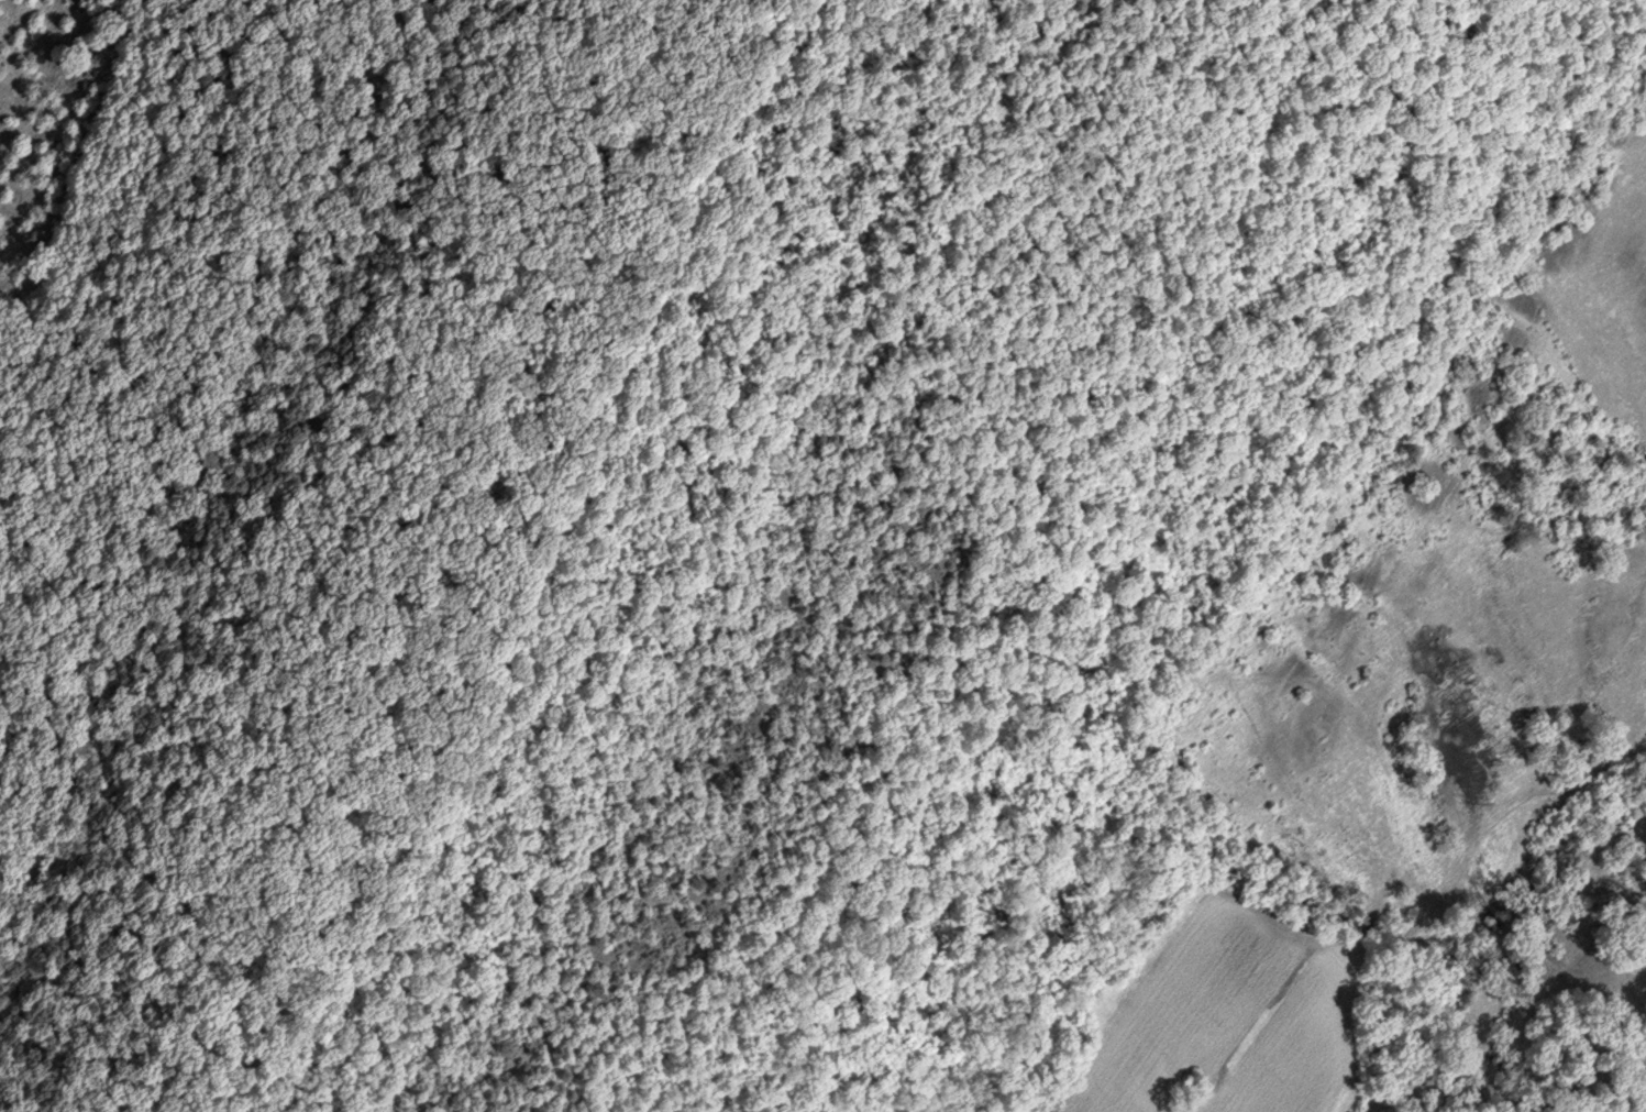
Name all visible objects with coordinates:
road: (1369, 1002)

